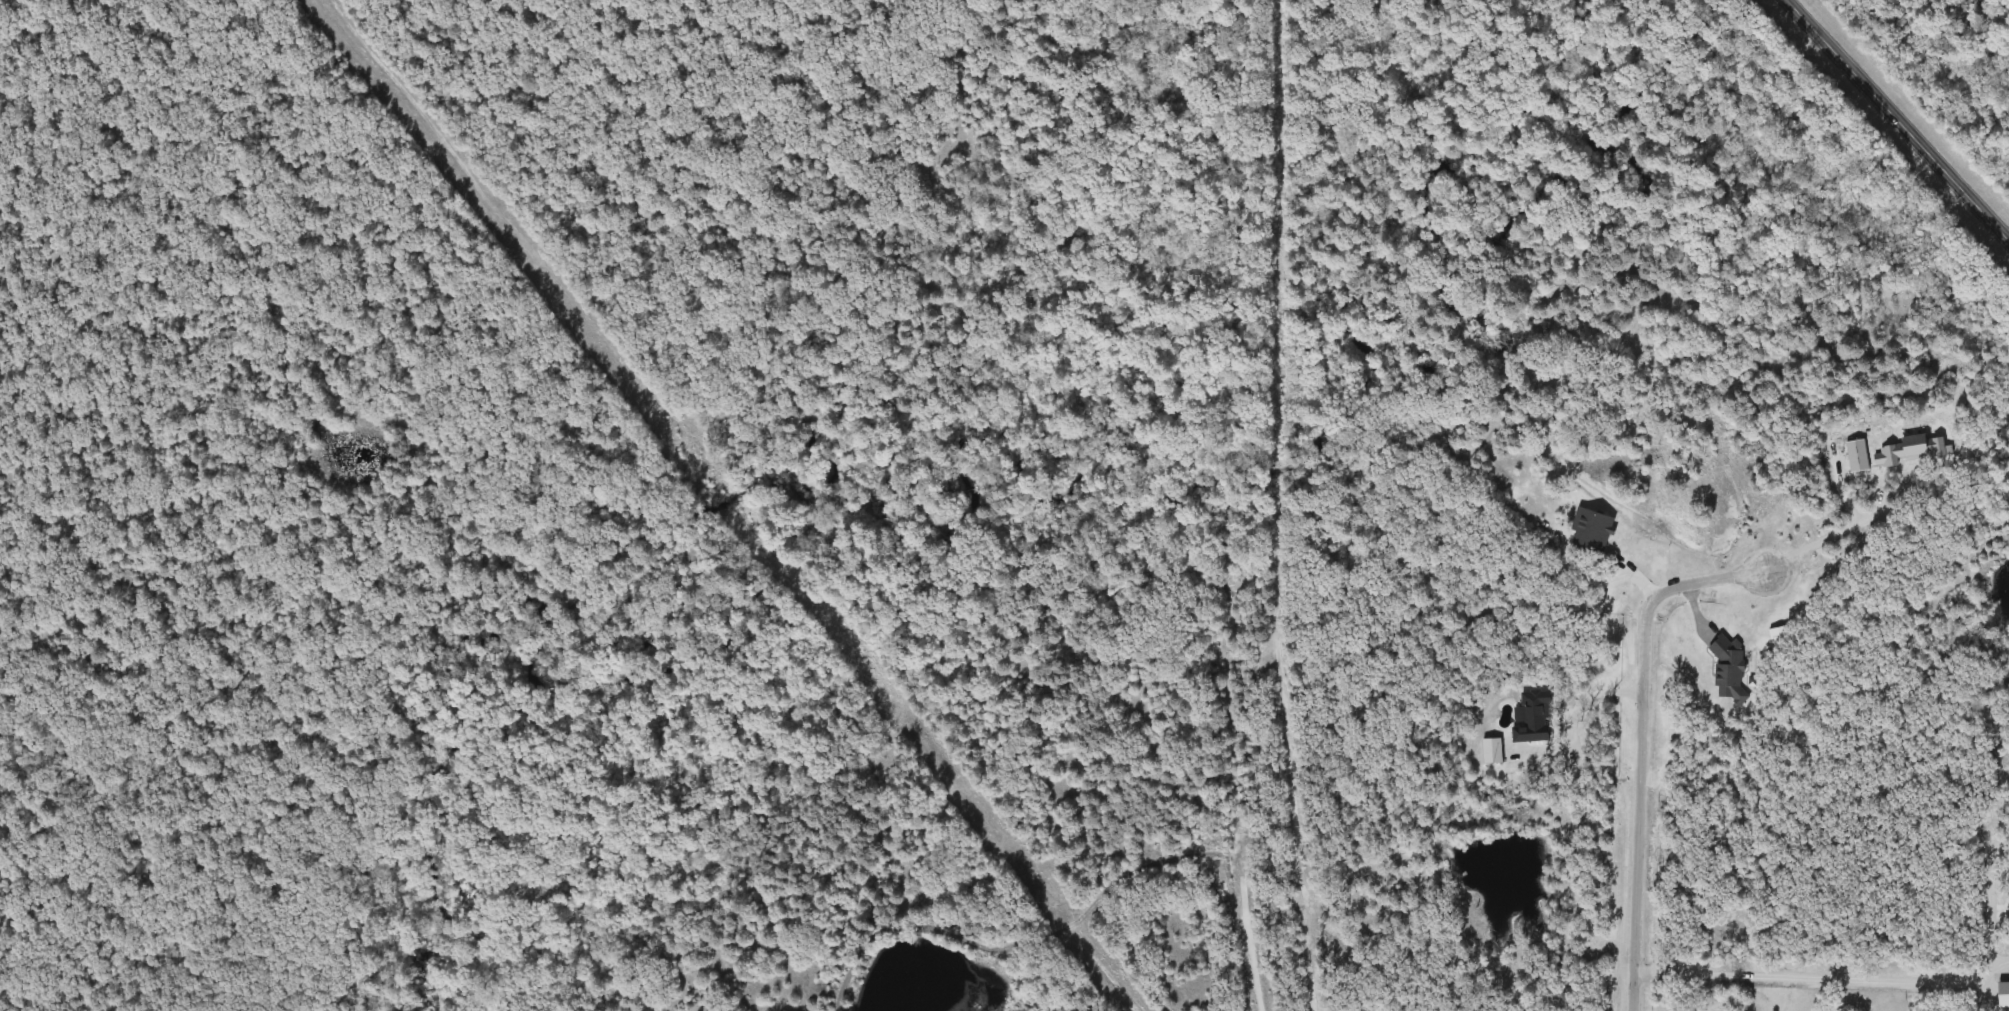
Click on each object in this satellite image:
road: (1898, 118)
road: (1222, 276)
building: (1588, 534)
road: (1825, 539)
building: (1779, 634)
building: (1728, 671)
building: (1532, 716)
road: (1578, 718)
road: (1647, 747)
building: (1492, 750)
road: (1232, 783)
road: (1811, 976)

